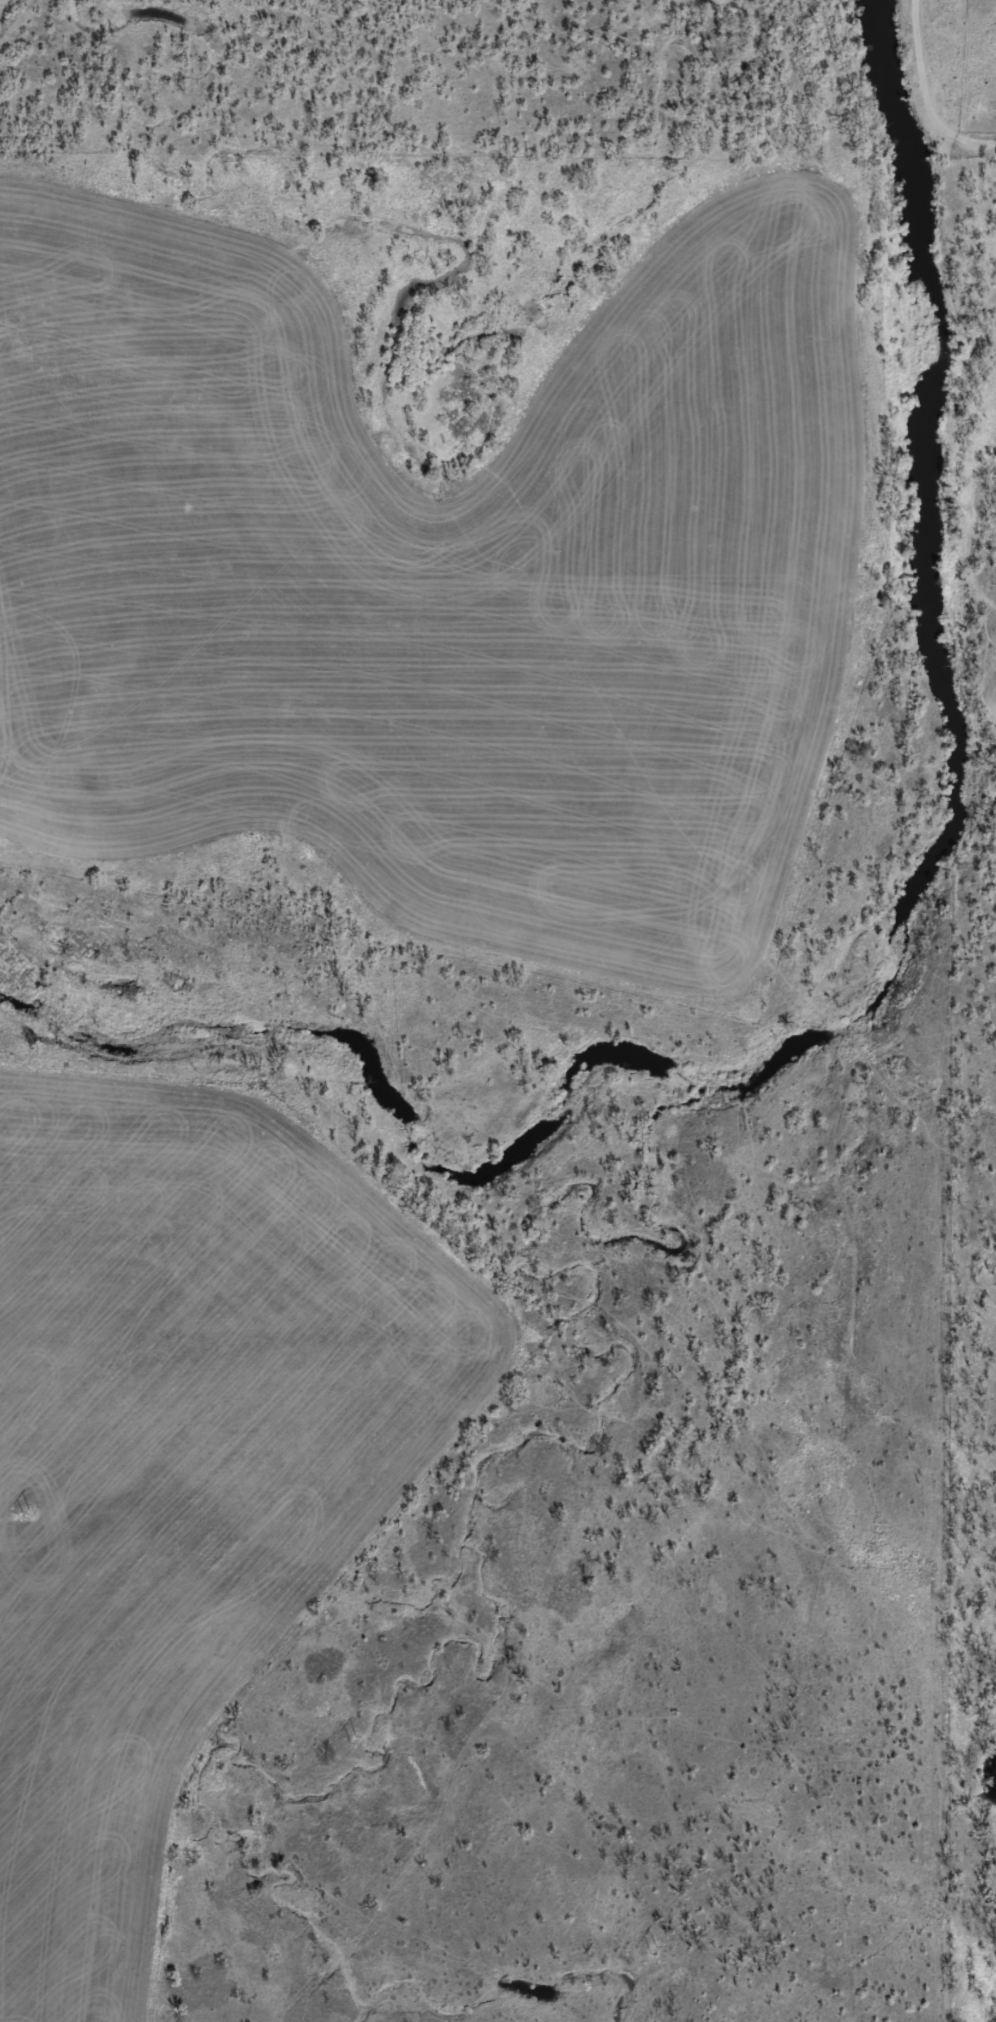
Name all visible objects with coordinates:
road: (964, 72)
road: (79, 901)
power tower: (29, 1515)
power tower: (355, 1739)
power tower: (655, 1948)

